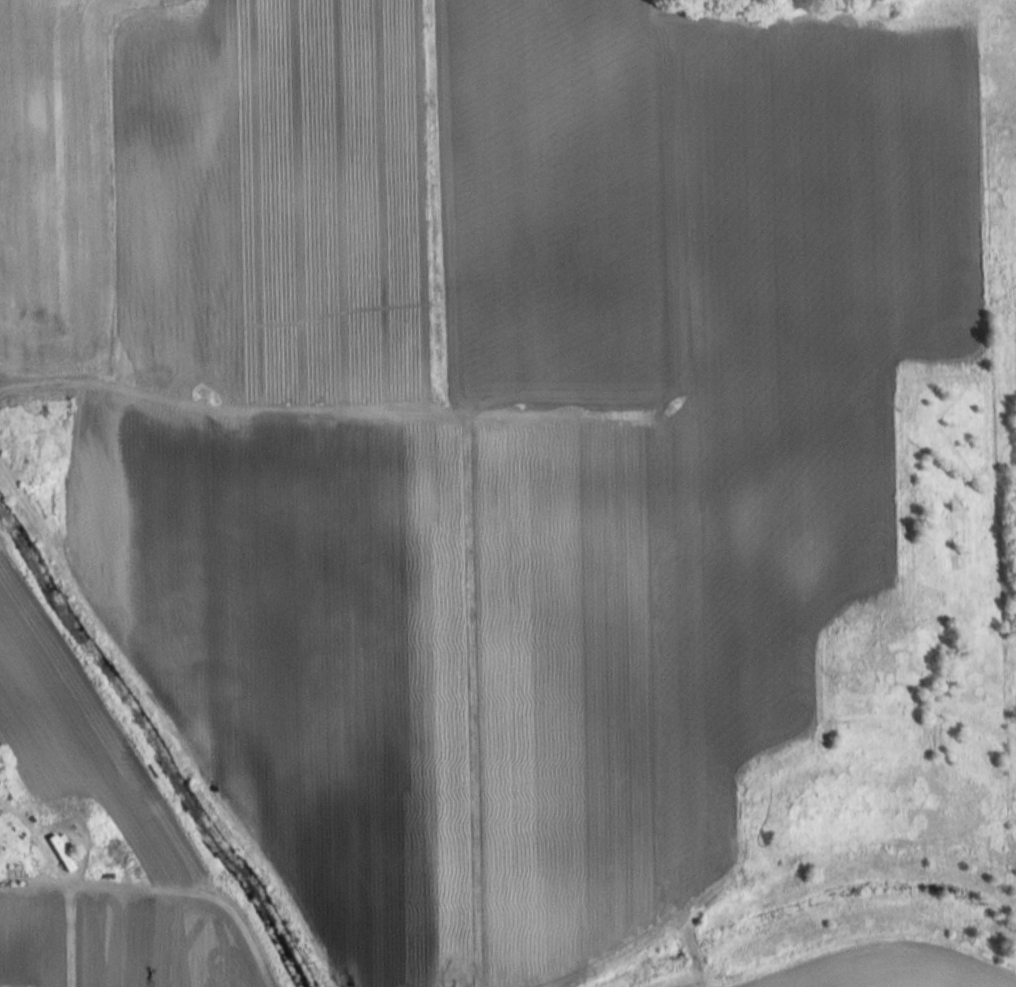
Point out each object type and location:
crop: (483, 416)
crop: (92, 843)
building: (61, 851)
road: (64, 907)
crop: (883, 968)

